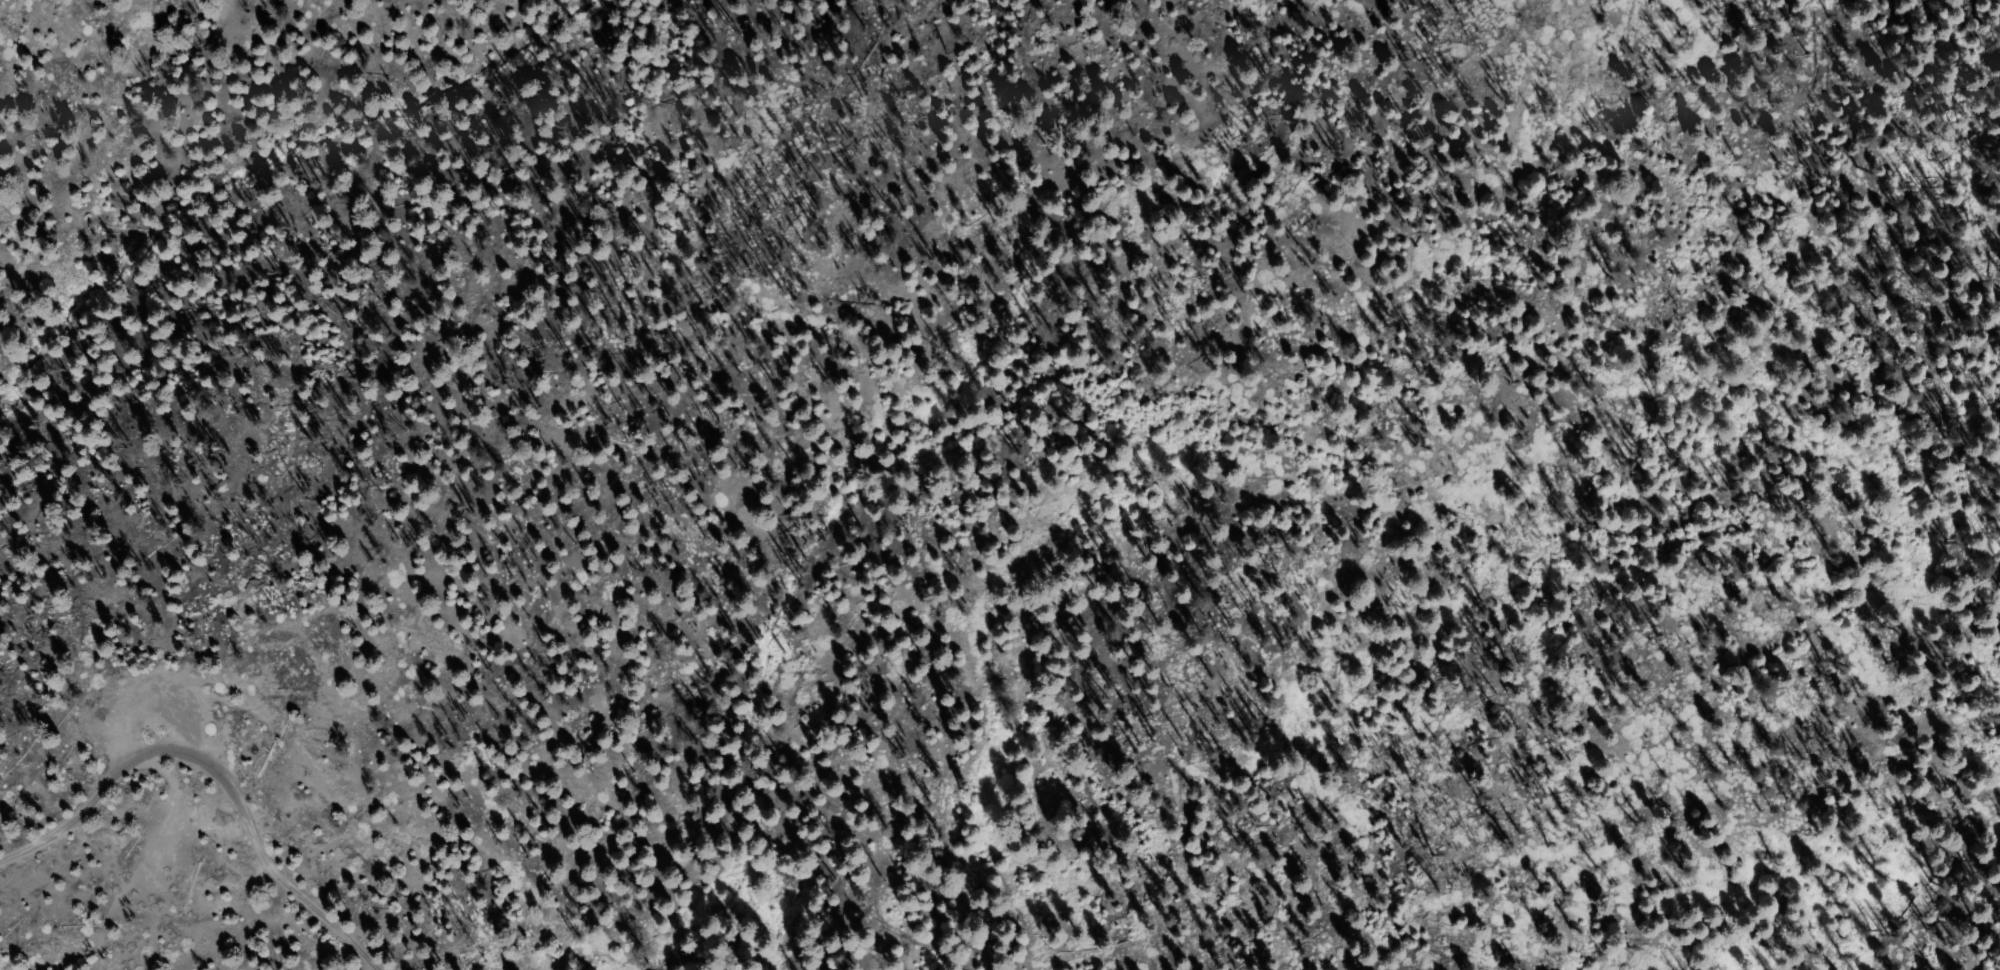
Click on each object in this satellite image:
road: (216, 773)

